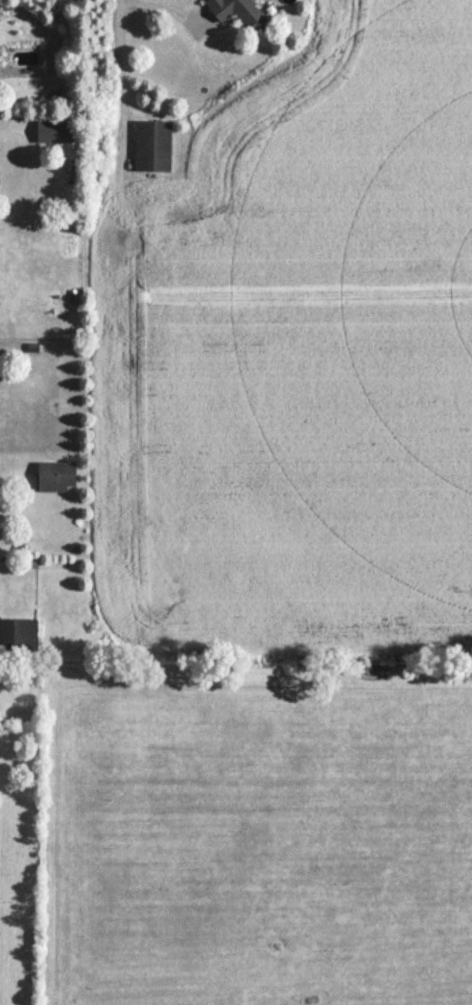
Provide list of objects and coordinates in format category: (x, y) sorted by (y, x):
building: (236, 11)
road: (114, 69)
building: (53, 130)
building: (151, 144)
building: (56, 476)
building: (18, 633)

